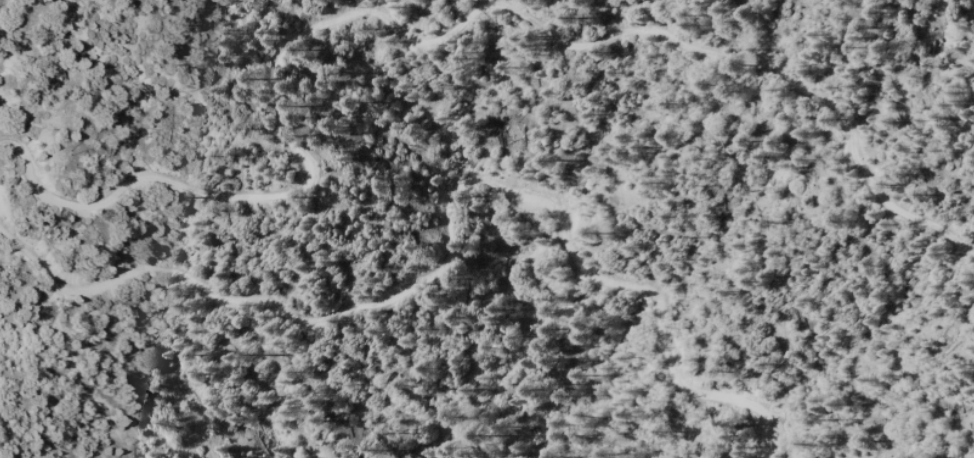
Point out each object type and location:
road: (432, 38)
road: (448, 226)

